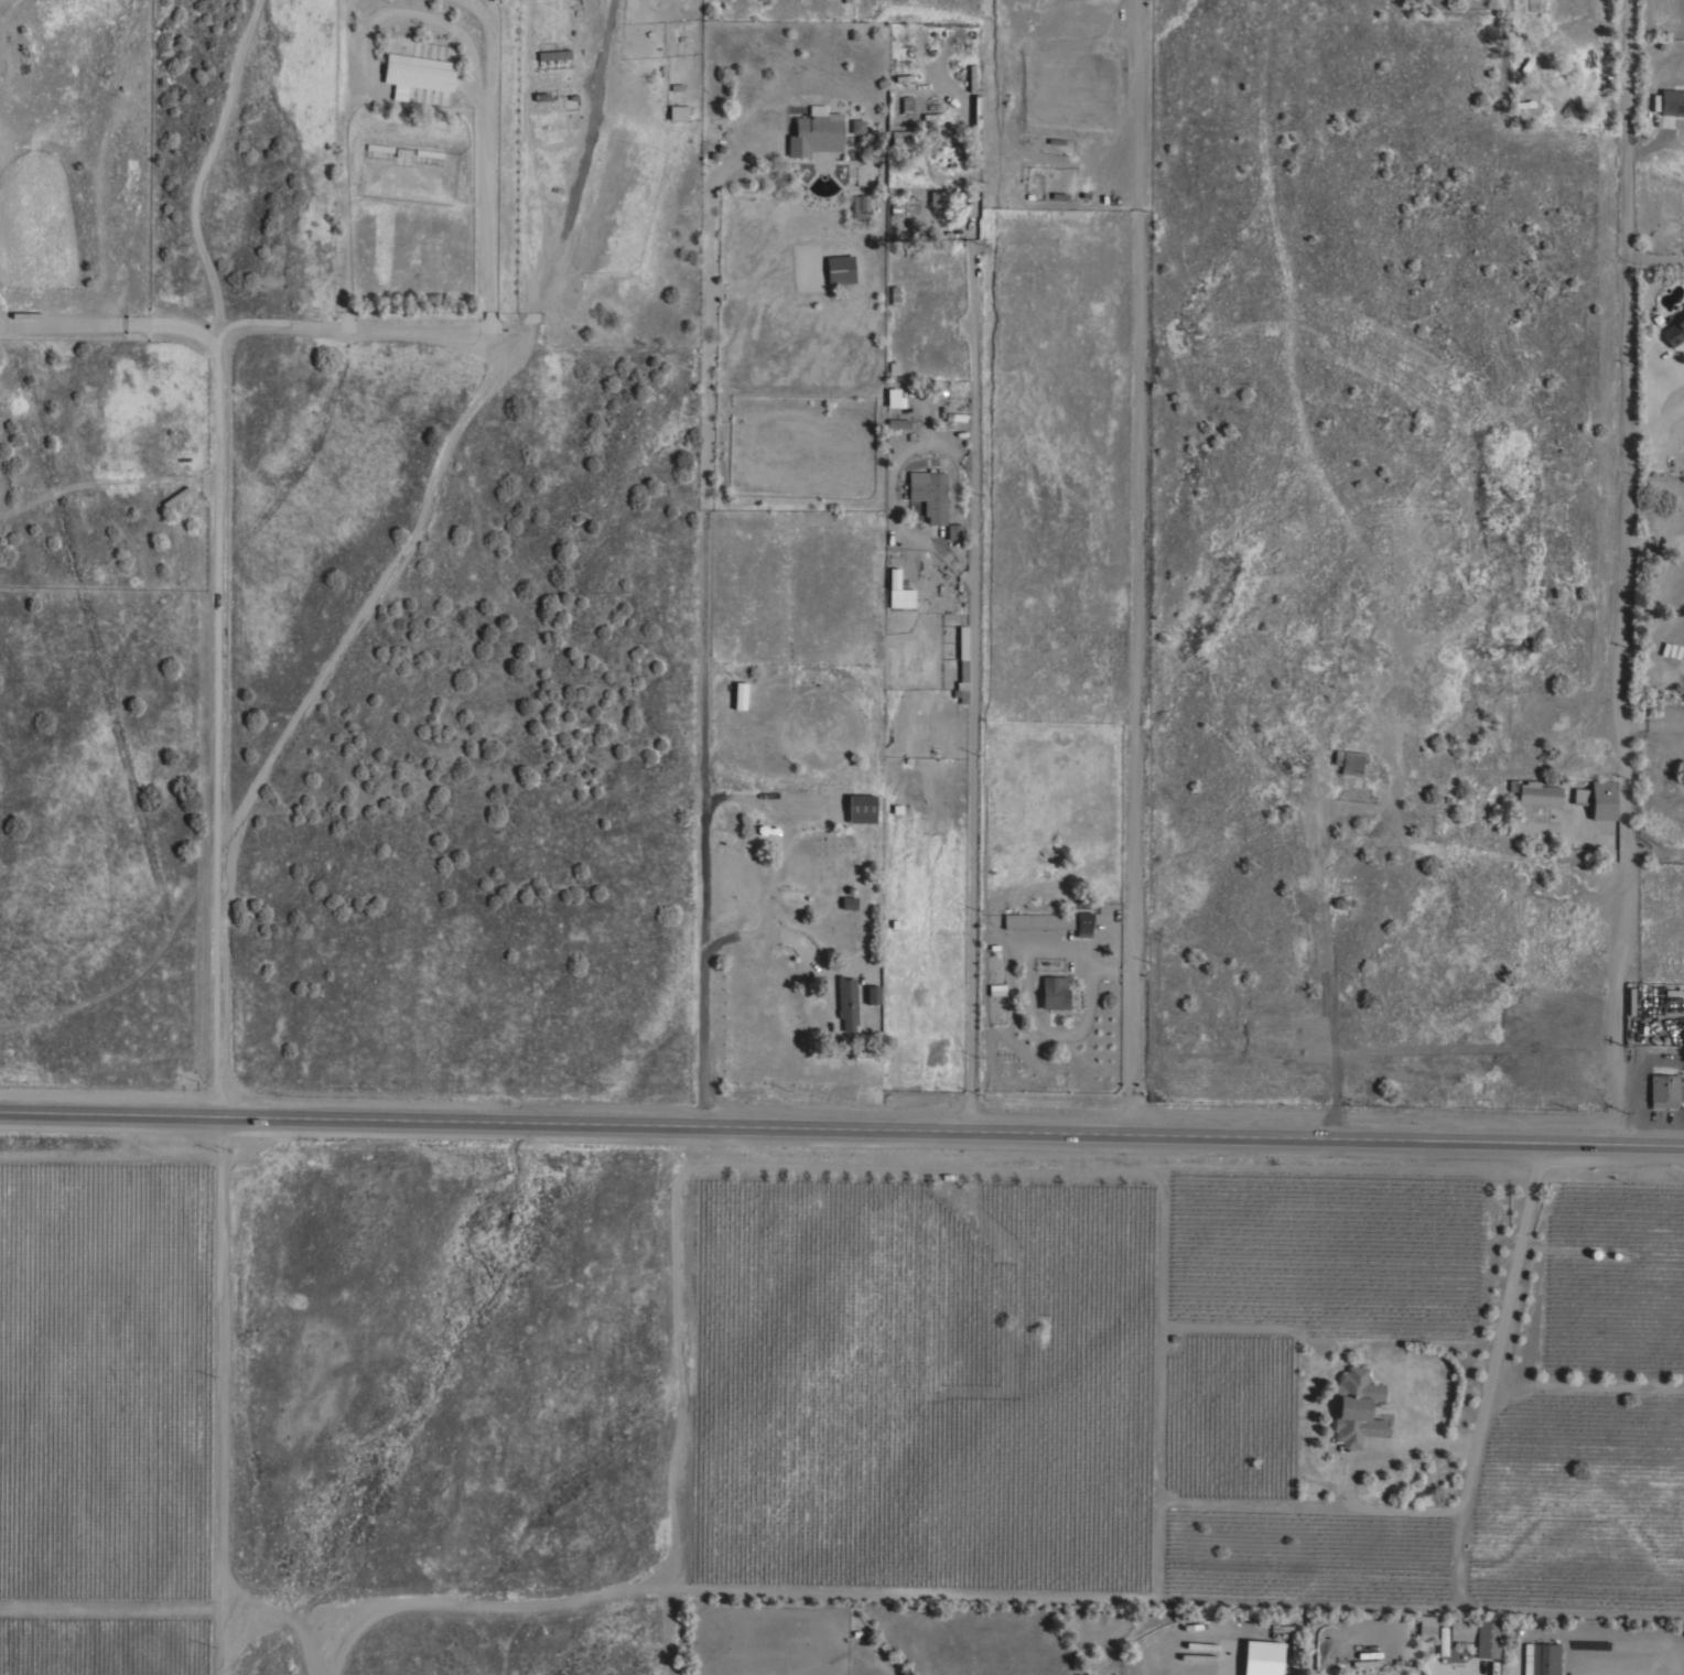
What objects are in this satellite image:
building: (1531, 4)
building: (553, 56)
building: (415, 74)
building: (1671, 102)
building: (905, 106)
building: (677, 112)
building: (856, 127)
building: (814, 132)
building: (899, 143)
road: (1650, 143)
building: (379, 148)
building: (428, 153)
road: (204, 164)
road: (485, 166)
road: (575, 190)
building: (937, 199)
building: (903, 206)
building: (860, 207)
road: (1653, 261)
building: (839, 270)
building: (1673, 332)
road: (239, 333)
building: (893, 399)
road: (1645, 407)
building: (898, 424)
building: (928, 495)
building: (953, 531)
road: (1652, 545)
road: (952, 566)
road: (1135, 566)
road: (1619, 573)
building: (896, 593)
road: (701, 610)
building: (962, 651)
building: (961, 692)
building: (738, 696)
road: (972, 723)
road: (225, 724)
road: (1650, 724)
building: (1348, 761)
building: (1537, 793)
building: (1578, 797)
building: (1601, 801)
building: (860, 809)
road: (1326, 895)
building: (848, 903)
building: (1036, 921)
building: (1082, 923)
road: (774, 930)
building: (995, 991)
building: (1050, 992)
building: (872, 995)
building: (845, 1002)
road: (1649, 1060)
building: (1662, 1091)
road: (842, 1128)
road: (1496, 1342)
road: (223, 1394)
building: (1354, 1408)
road: (108, 1606)
road: (281, 1617)
building: (1425, 1627)
building: (1238, 1631)
building: (1476, 1636)
building: (1440, 1642)
building: (1306, 1650)
building: (1540, 1658)

